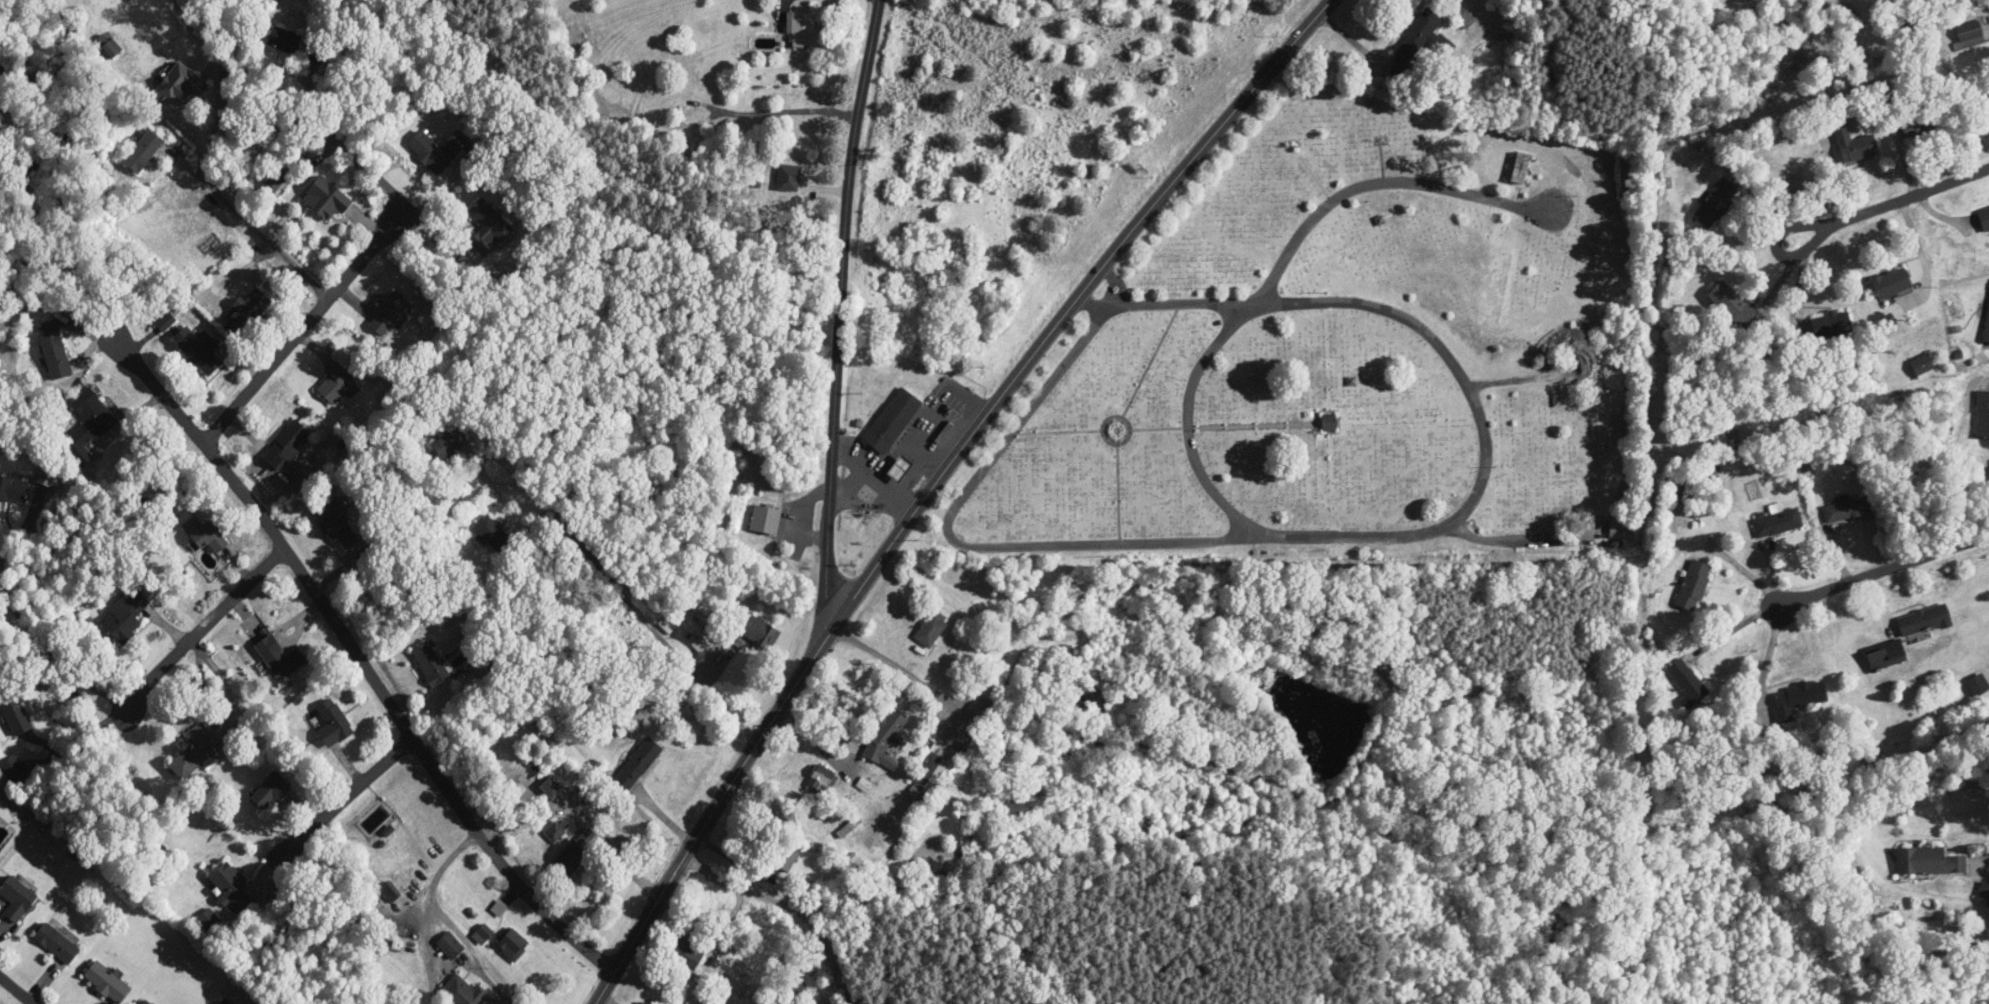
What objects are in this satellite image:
building: (1464, 17)
building: (802, 30)
building: (1968, 31)
building: (1416, 43)
building: (284, 44)
building: (317, 52)
road: (266, 69)
building: (182, 84)
building: (1924, 121)
building: (692, 130)
building: (1853, 144)
building: (434, 150)
building: (144, 151)
building: (1519, 168)
road: (1377, 184)
road: (1912, 196)
building: (328, 198)
building: (1715, 203)
building: (1984, 218)
building: (488, 227)
road: (251, 229)
road: (1778, 248)
building: (1890, 283)
road: (341, 284)
building: (1728, 303)
road: (1366, 305)
building: (249, 309)
road: (842, 311)
building: (390, 313)
building: (1830, 325)
building: (1986, 328)
building: (198, 349)
park: (1343, 353)
building: (55, 354)
building: (1921, 364)
building: (337, 382)
building: (1982, 415)
building: (893, 419)
building: (1328, 422)
building: (89, 423)
road: (1190, 429)
building: (287, 444)
building: (450, 444)
road: (929, 459)
building: (902, 468)
building: (50, 476)
road: (874, 478)
road: (936, 482)
road: (847, 483)
building: (14, 489)
building: (1845, 510)
building: (766, 519)
building: (1777, 522)
building: (337, 523)
road: (23, 529)
building: (1621, 531)
building: (492, 533)
building: (204, 534)
road: (1518, 538)
road: (1059, 544)
road: (1884, 570)
building: (1692, 585)
road: (622, 590)
building: (127, 615)
building: (1923, 620)
building: (706, 625)
road: (202, 626)
building: (932, 629)
building: (760, 632)
road: (352, 646)
building: (1885, 655)
road: (1768, 656)
building: (280, 657)
road: (55, 658)
building: (432, 664)
road: (898, 670)
building: (1686, 680)
building: (1977, 685)
building: (1797, 698)
building: (1099, 702)
building: (17, 715)
building: (331, 724)
building: (886, 738)
building: (198, 749)
building: (638, 764)
building: (13, 770)
building: (819, 779)
building: (929, 780)
building: (553, 787)
building: (272, 790)
road: (341, 804)
building: (1017, 809)
building: (1143, 815)
road: (584, 817)
building: (847, 821)
building: (554, 828)
building: (574, 854)
building: (790, 855)
building: (1928, 862)
road: (1984, 868)
building: (232, 885)
building: (390, 891)
building: (1983, 894)
road: (871, 895)
building: (18, 898)
building: (500, 908)
road: (447, 916)
building: (483, 930)
building: (58, 944)
building: (513, 944)
building: (451, 945)
building: (687, 951)
road: (424, 954)
road: (827, 954)
building: (108, 982)
road: (16, 990)
building: (464, 991)
building: (799, 995)
road: (607, 999)
building: (147, 1002)
building: (681, 1003)

